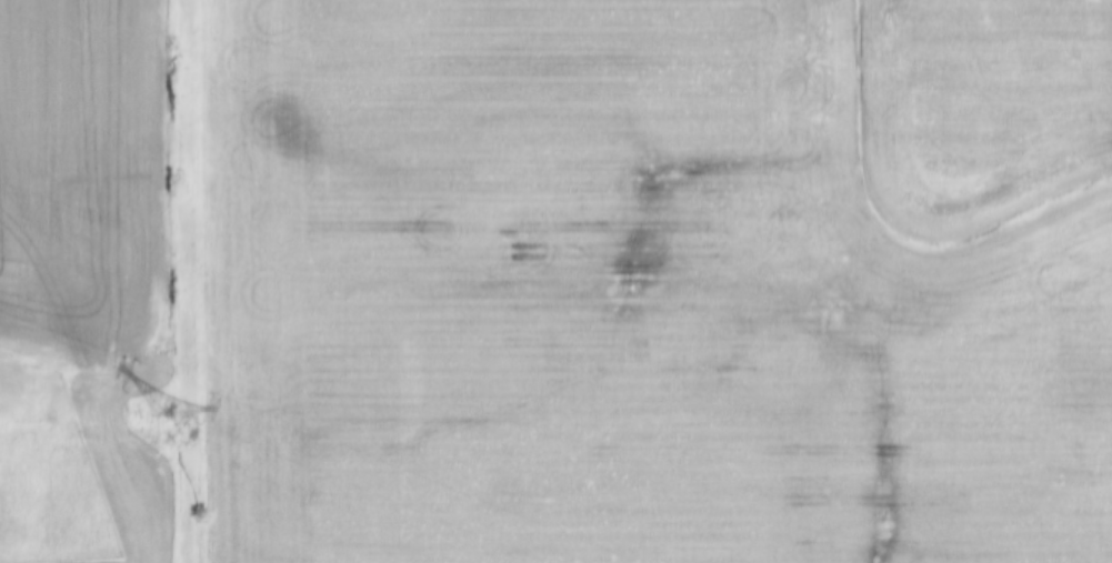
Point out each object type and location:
power tower: (157, 414)

